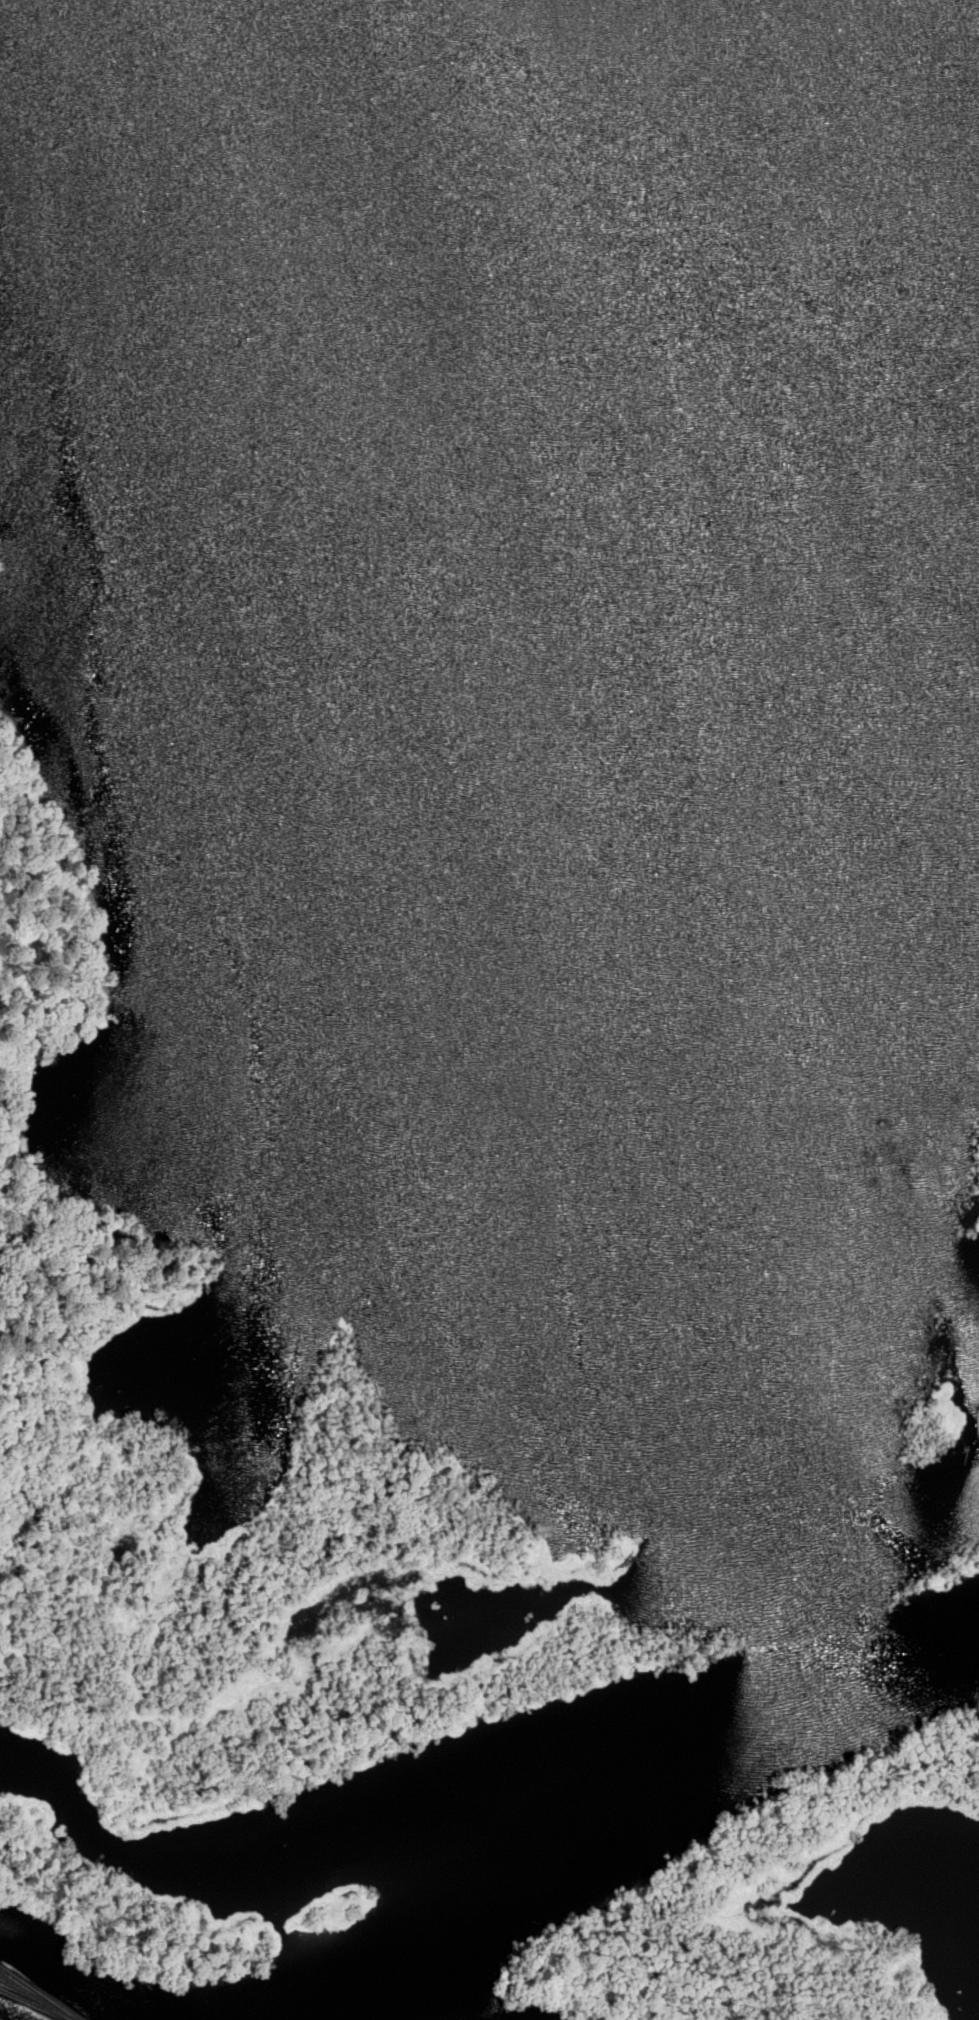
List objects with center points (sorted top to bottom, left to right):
river: (642, 1821)
river: (16, 2012)

